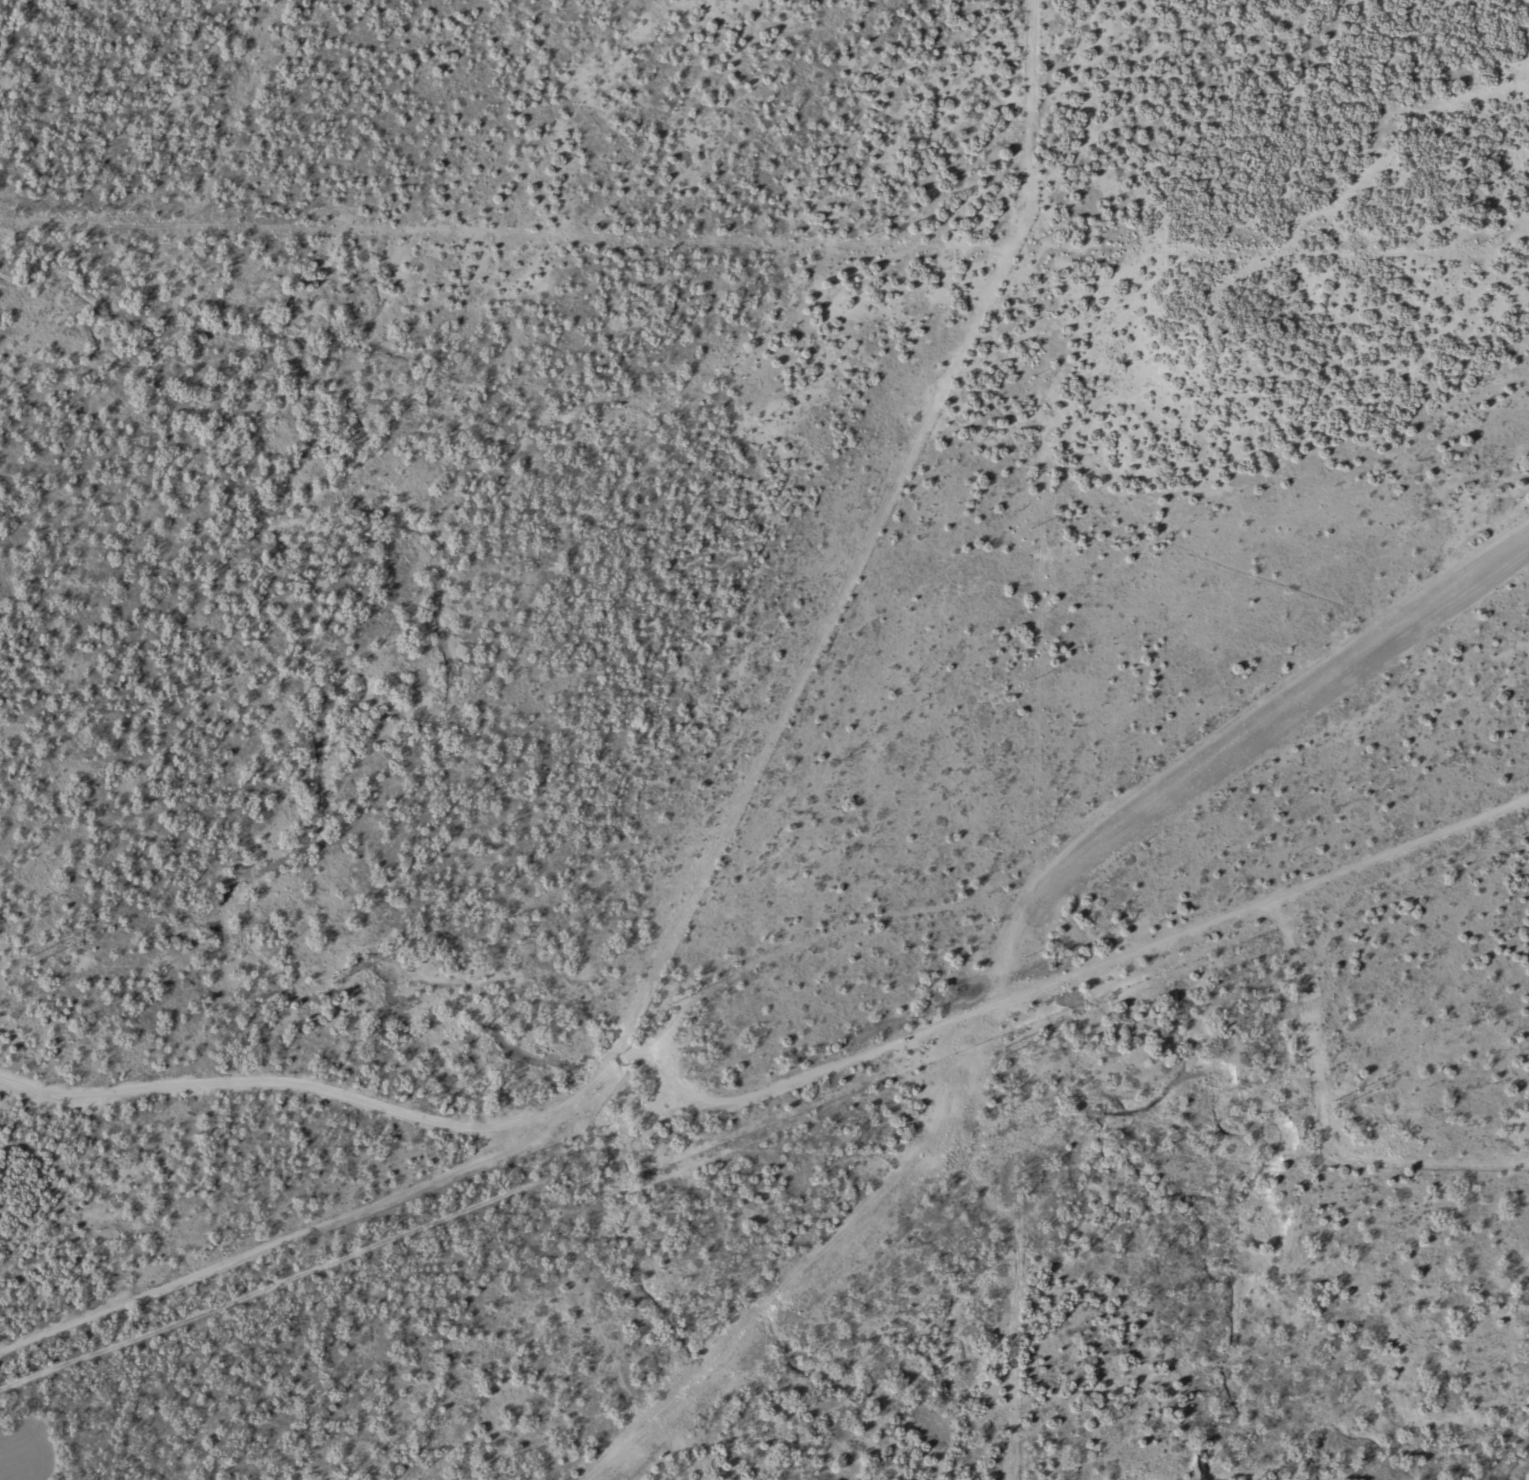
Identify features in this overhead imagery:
power tower: (28, 960)
road: (826, 968)
power tower: (331, 978)
power tower: (672, 999)
power tower: (1002, 1051)
power tower: (1333, 1105)

